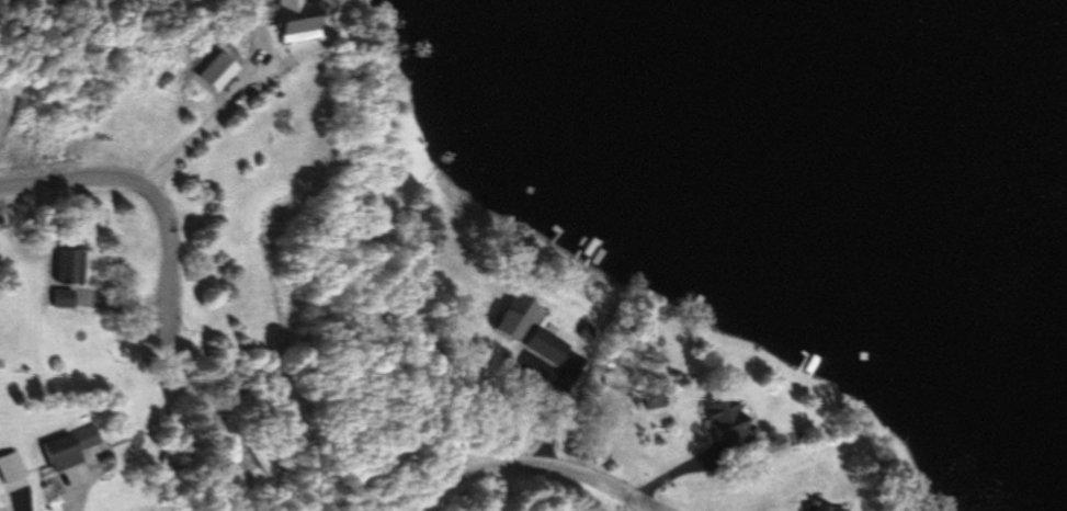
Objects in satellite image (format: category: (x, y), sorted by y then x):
building: (286, 22)
road: (208, 117)
building: (444, 144)
road: (148, 182)
building: (68, 265)
building: (61, 298)
road: (415, 311)
building: (530, 330)
building: (729, 429)
building: (69, 447)
road: (521, 467)
building: (818, 508)

